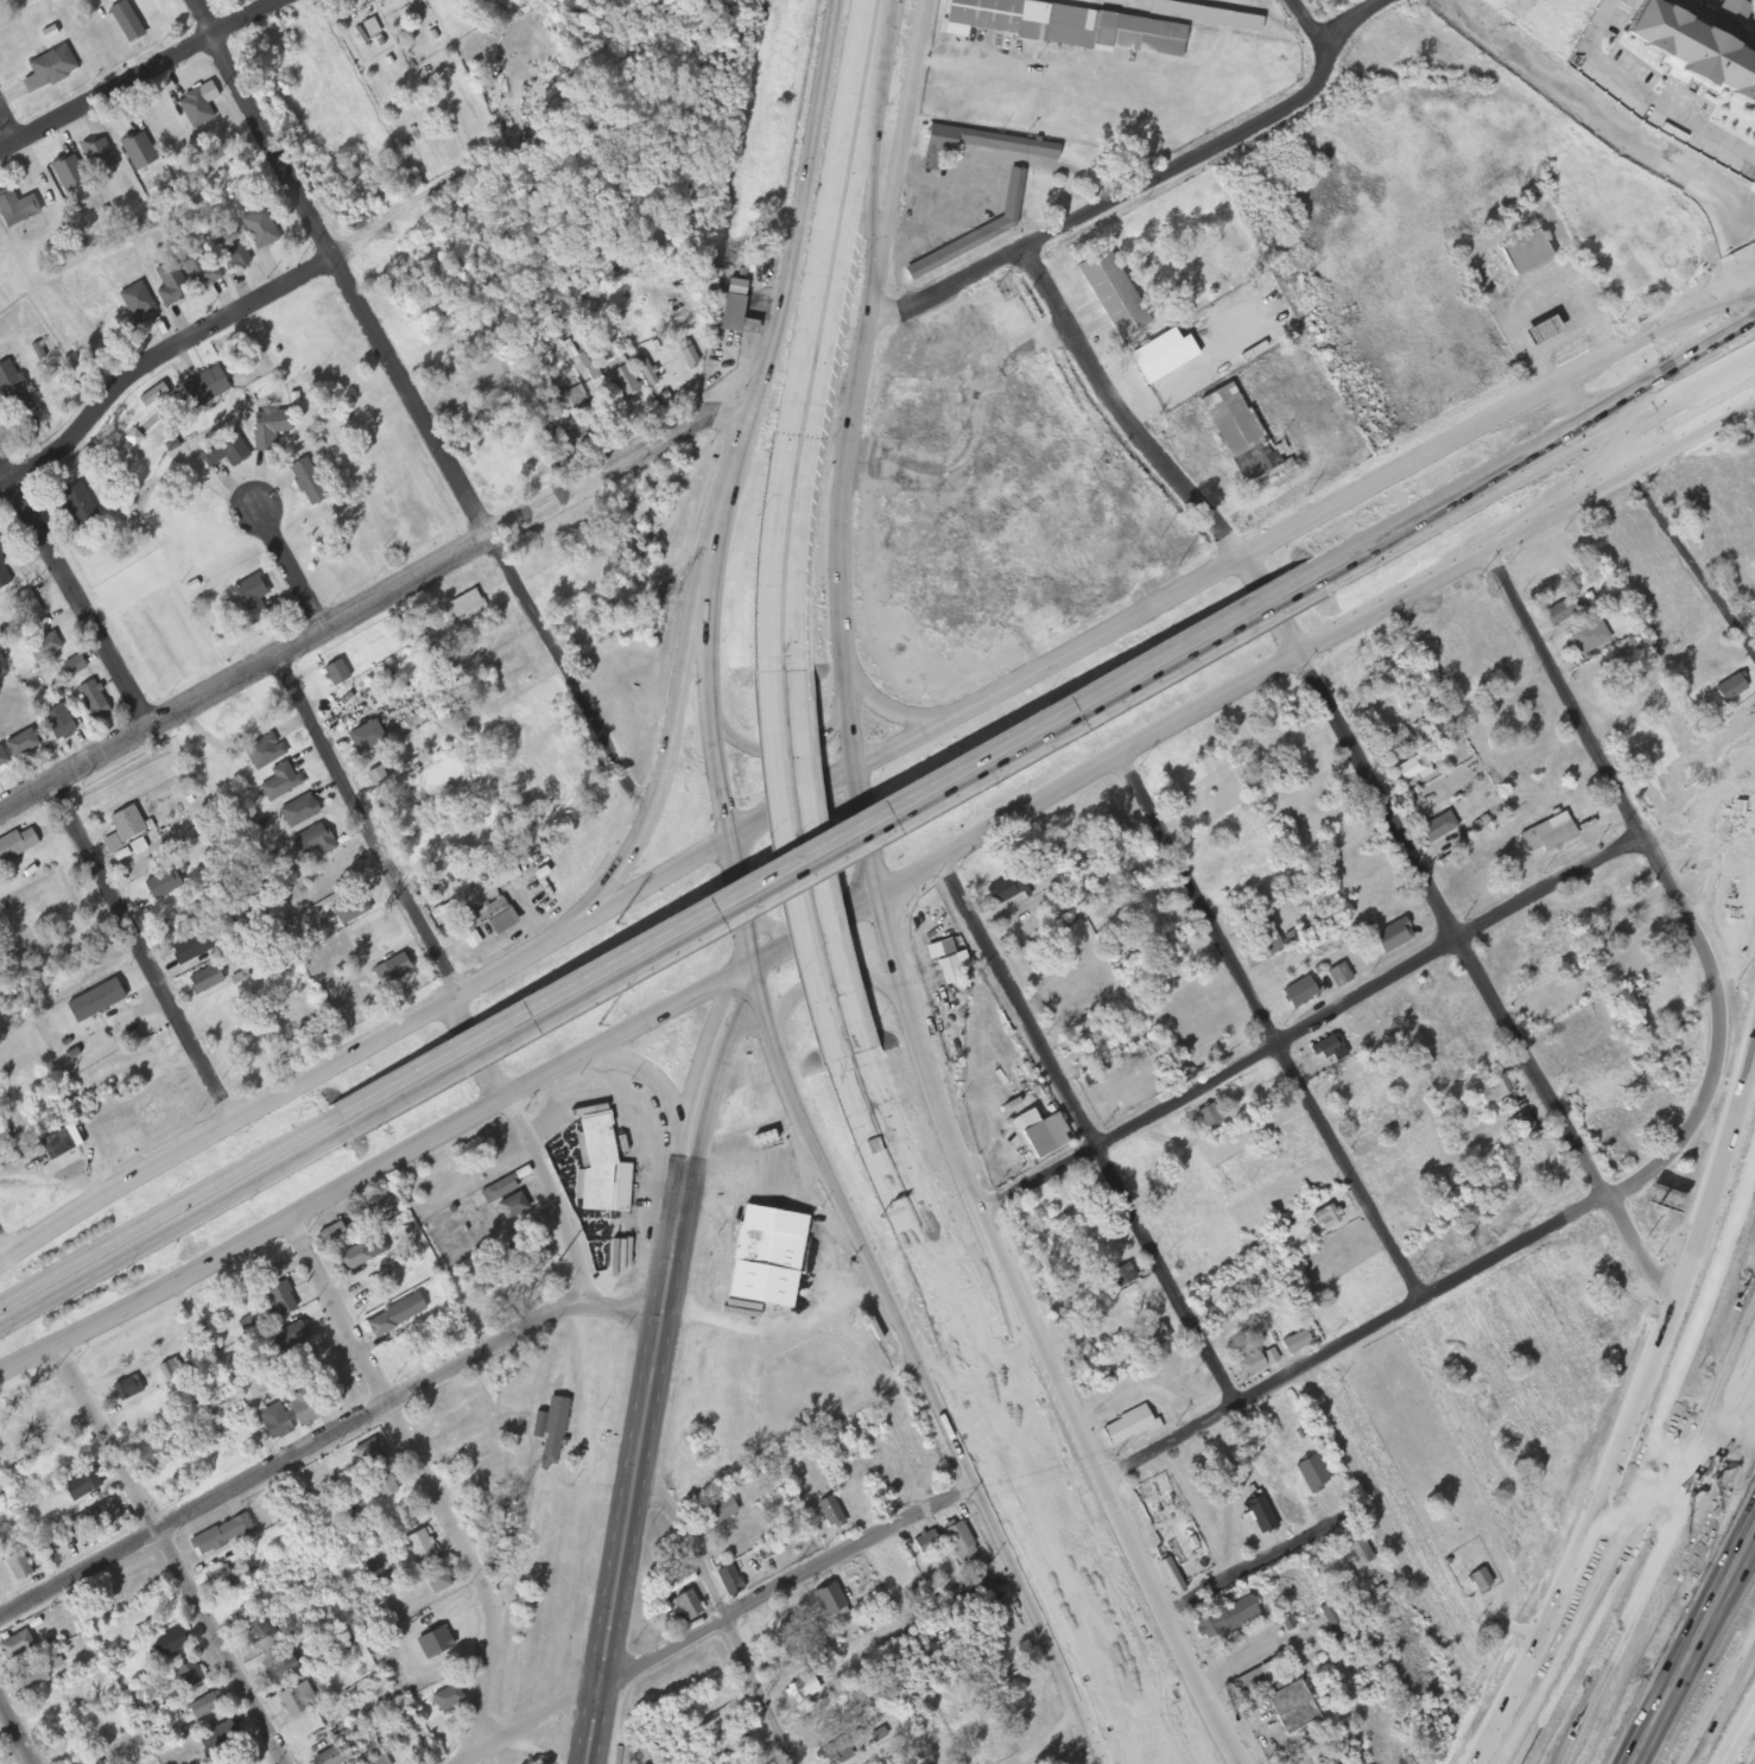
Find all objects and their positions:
building: (388, 1)
building: (1204, 15)
building: (127, 21)
building: (1065, 26)
road: (1312, 27)
road: (885, 36)
building: (1700, 56)
building: (51, 68)
road: (141, 75)
building: (196, 109)
road: (6, 135)
building: (995, 150)
building: (139, 151)
road: (815, 156)
building: (100, 157)
road: (900, 158)
building: (70, 173)
road: (1151, 184)
road: (876, 186)
building: (17, 207)
building: (1003, 226)
building: (261, 228)
building: (990, 235)
building: (233, 250)
building: (1525, 253)
power tower: (728, 260)
building: (201, 267)
building: (172, 284)
road: (1713, 293)
building: (1113, 296)
building: (138, 300)
road: (248, 304)
road: (1713, 306)
building: (729, 313)
building: (747, 321)
building: (1540, 330)
building: (1162, 356)
building: (646, 372)
building: (623, 381)
building: (208, 387)
building: (12, 388)
road: (413, 413)
building: (587, 418)
building: (272, 427)
building: (1240, 436)
road: (1537, 444)
building: (227, 450)
road: (1604, 455)
road: (735, 464)
road: (1634, 465)
road: (1540, 467)
building: (310, 480)
building: (78, 505)
road: (1691, 560)
road: (290, 570)
building: (4, 571)
road: (72, 595)
building: (254, 598)
road: (372, 602)
road: (843, 602)
building: (467, 607)
building: (27, 608)
building: (1560, 613)
building: (949, 615)
building: (1589, 637)
building: (45, 646)
building: (76, 665)
building: (338, 673)
building: (1732, 689)
building: (94, 699)
road: (892, 716)
building: (61, 722)
building: (368, 737)
building: (1396, 742)
building: (24, 743)
road: (787, 748)
building: (262, 753)
building: (4, 757)
road: (1364, 769)
building: (1413, 769)
building: (280, 782)
road: (834, 785)
road: (659, 792)
road: (1624, 797)
building: (298, 812)
building: (126, 825)
building: (1437, 829)
building: (1556, 837)
road: (825, 842)
building: (311, 843)
building: (15, 845)
road: (835, 858)
building: (505, 871)
building: (160, 886)
building: (1006, 890)
road: (742, 891)
building: (1743, 897)
building: (349, 907)
building: (501, 916)
building: (468, 922)
power tower: (615, 927)
road: (772, 929)
building: (1392, 938)
building: (1265, 947)
building: (190, 948)
road: (142, 950)
building: (949, 963)
road: (765, 964)
building: (395, 967)
building: (1339, 977)
road: (435, 978)
road: (823, 981)
building: (204, 982)
road: (746, 988)
building: (1299, 995)
building: (95, 1002)
road: (1313, 1022)
power tower: (598, 1029)
road: (1267, 1029)
building: (1330, 1052)
building: (144, 1059)
road: (927, 1072)
road: (651, 1073)
road: (698, 1078)
road: (715, 1085)
building: (1495, 1089)
building: (159, 1106)
building: (1522, 1127)
road: (1089, 1128)
building: (1040, 1135)
building: (5, 1141)
building: (600, 1170)
building: (499, 1192)
building: (1673, 1199)
building: (512, 1207)
road: (165, 1208)
building: (1325, 1219)
road: (170, 1229)
building: (334, 1236)
road: (1, 1251)
building: (353, 1258)
road: (1718, 1261)
building: (786, 1262)
power tower: (557, 1264)
building: (1114, 1278)
road: (1436, 1294)
building: (278, 1303)
building: (394, 1316)
building: (289, 1338)
building: (1152, 1340)
building: (1295, 1344)
building: (1250, 1366)
road: (924, 1369)
building: (171, 1371)
building: (128, 1389)
road: (1636, 1406)
road: (1708, 1407)
building: (305, 1408)
building: (273, 1423)
building: (1127, 1428)
road: (1081, 1429)
road: (324, 1433)
building: (553, 1433)
building: (368, 1454)
road: (639, 1466)
building: (1312, 1476)
road: (1627, 1476)
road: (423, 1479)
building: (81, 1486)
building: (384, 1486)
power tower: (519, 1491)
building: (720, 1512)
building: (830, 1514)
building: (1260, 1517)
building: (93, 1521)
building: (222, 1536)
building: (52, 1542)
building: (926, 1544)
building: (731, 1546)
building: (962, 1547)
building: (419, 1548)
building: (1357, 1550)
road: (167, 1552)
road: (1263, 1559)
road: (1648, 1561)
building: (18, 1567)
building: (1171, 1578)
building: (222, 1580)
building: (436, 1580)
building: (4, 1581)
building: (1480, 1581)
building: (730, 1582)
road: (1662, 1588)
building: (829, 1600)
building: (686, 1606)
road: (722, 1606)
building: (1227, 1620)
road: (723, 1624)
building: (258, 1635)
building: (170, 1644)
building: (433, 1644)
building: (15, 1648)
building: (1001, 1652)
building: (280, 1670)
road: (1067, 1674)
building: (186, 1676)
building: (28, 1680)
building: (1256, 1682)
road: (1199, 1688)
building: (446, 1700)
building: (296, 1701)
building: (204, 1706)
building: (1291, 1708)
road: (1737, 1732)
road: (15, 1734)
building: (836, 1755)
building: (334, 1756)
road: (1028, 1759)

